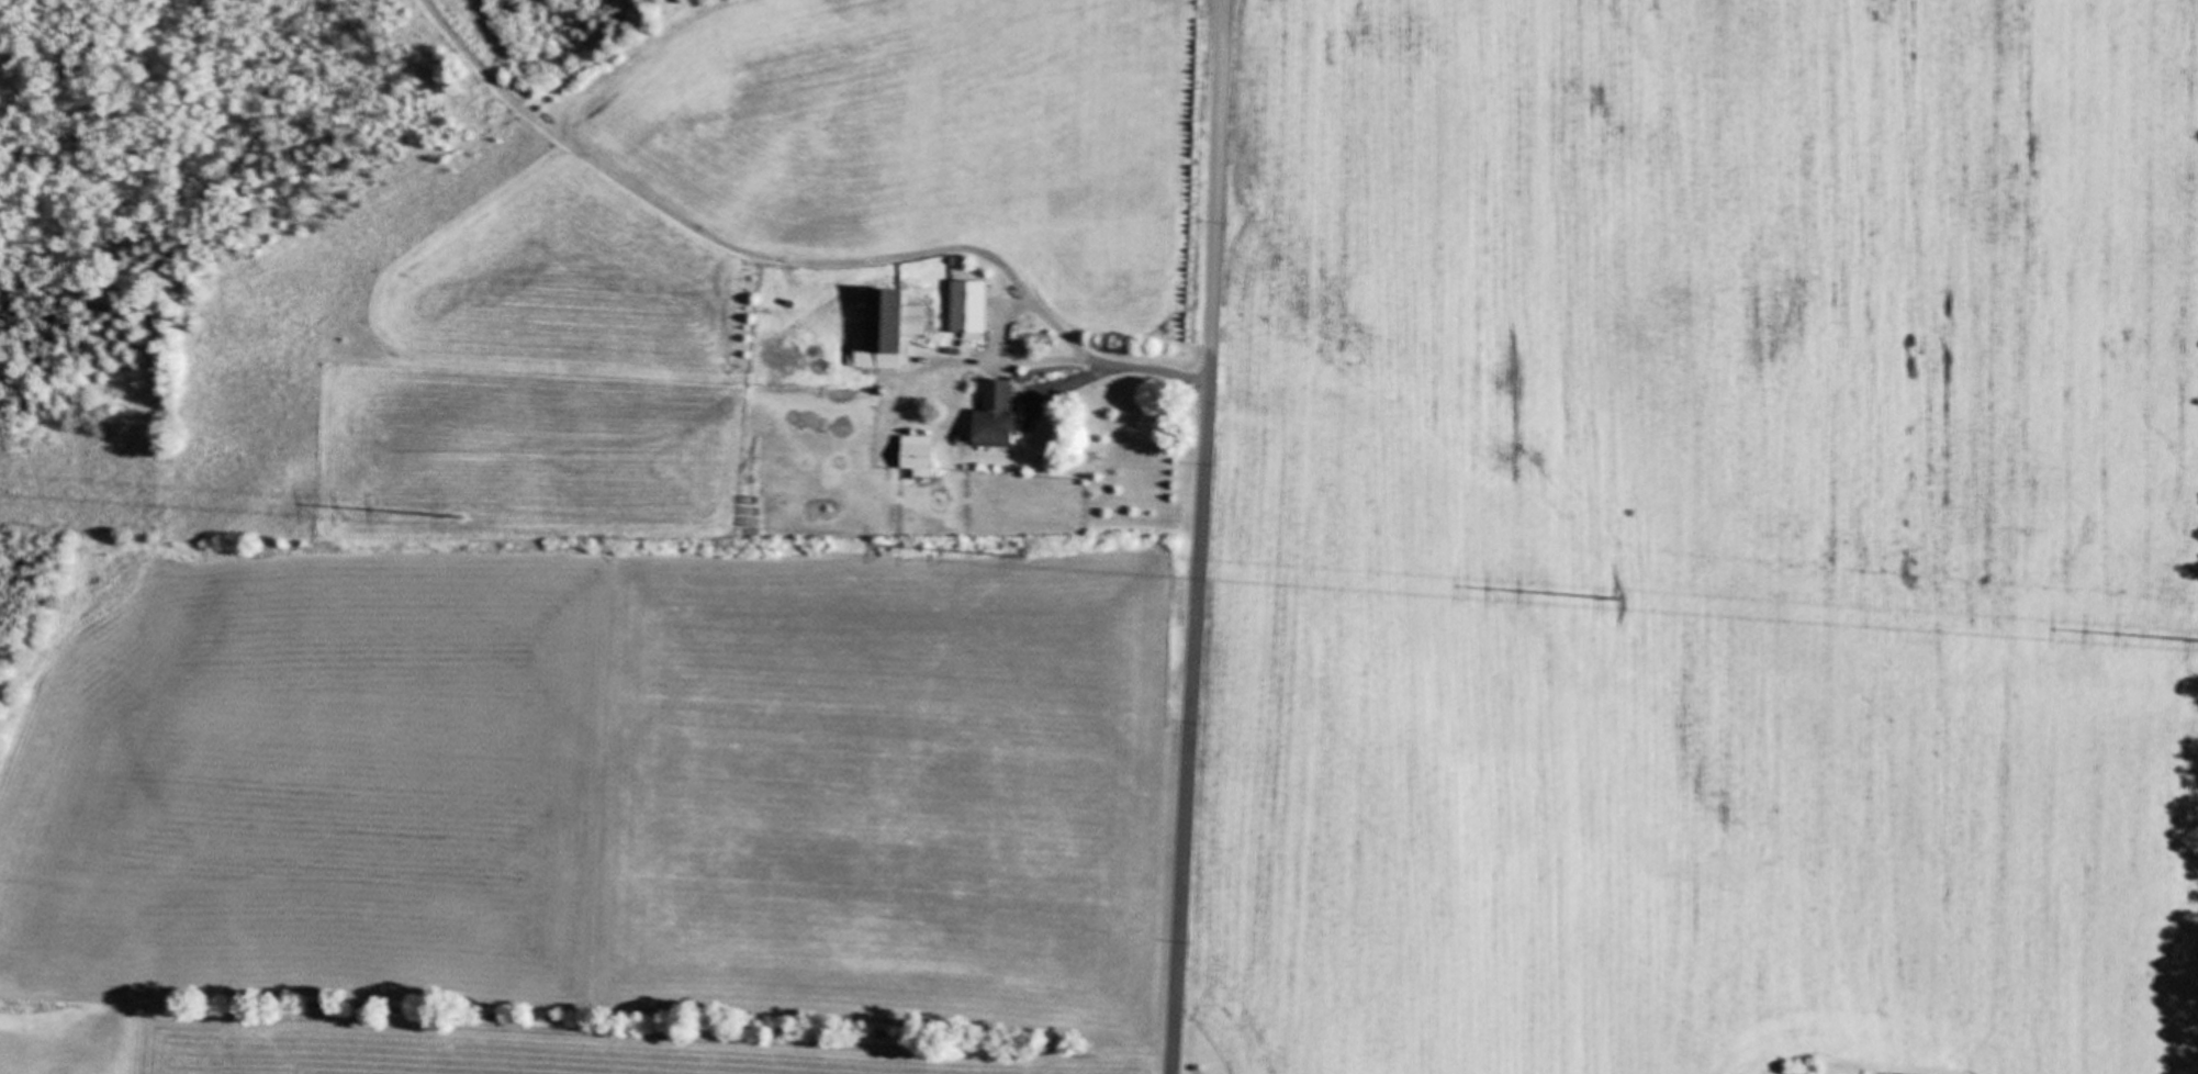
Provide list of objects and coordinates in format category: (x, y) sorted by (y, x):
building: (972, 306)
building: (898, 325)
road: (1097, 362)
building: (1002, 414)
building: (920, 459)
power tower: (461, 515)
road: (1196, 537)
power tower: (1028, 558)
power tower: (1616, 595)

